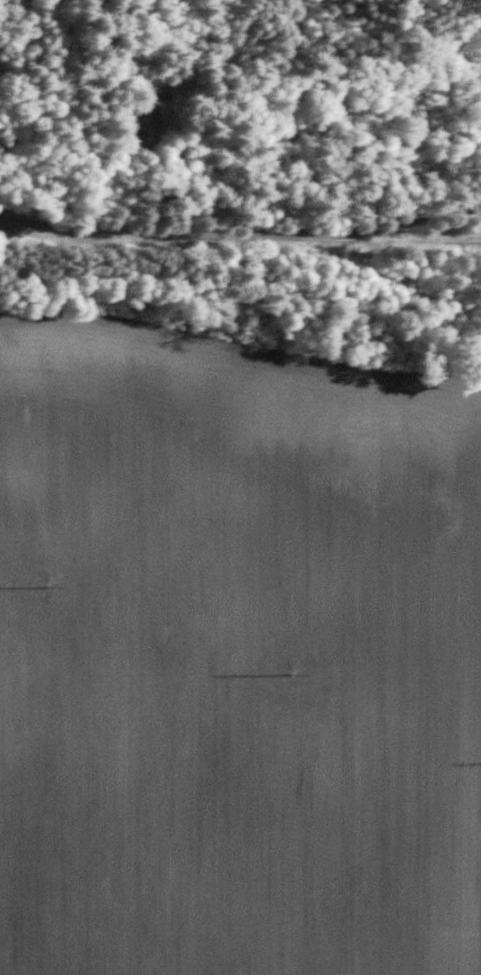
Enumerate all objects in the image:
road: (240, 237)

